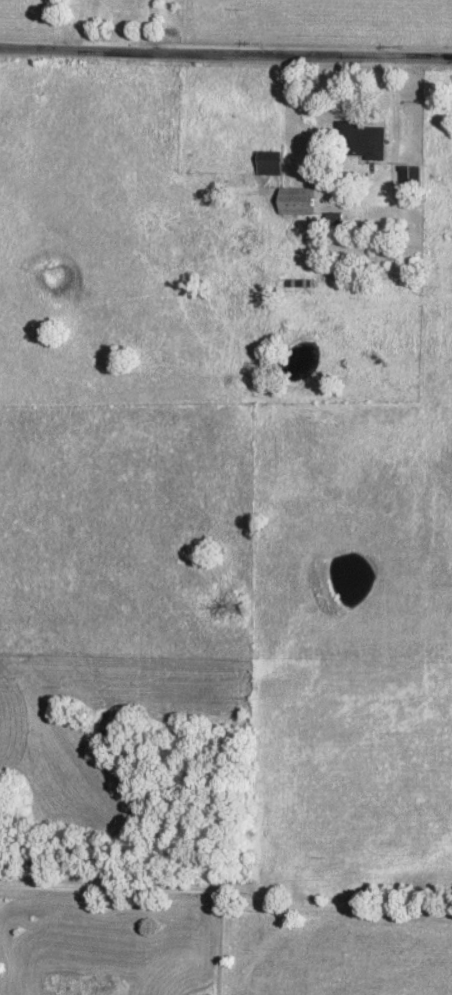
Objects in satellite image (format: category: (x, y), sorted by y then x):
road: (143, 26)
road: (226, 55)
road: (390, 115)
building: (358, 140)
building: (265, 163)
building: (291, 201)
road: (227, 895)

